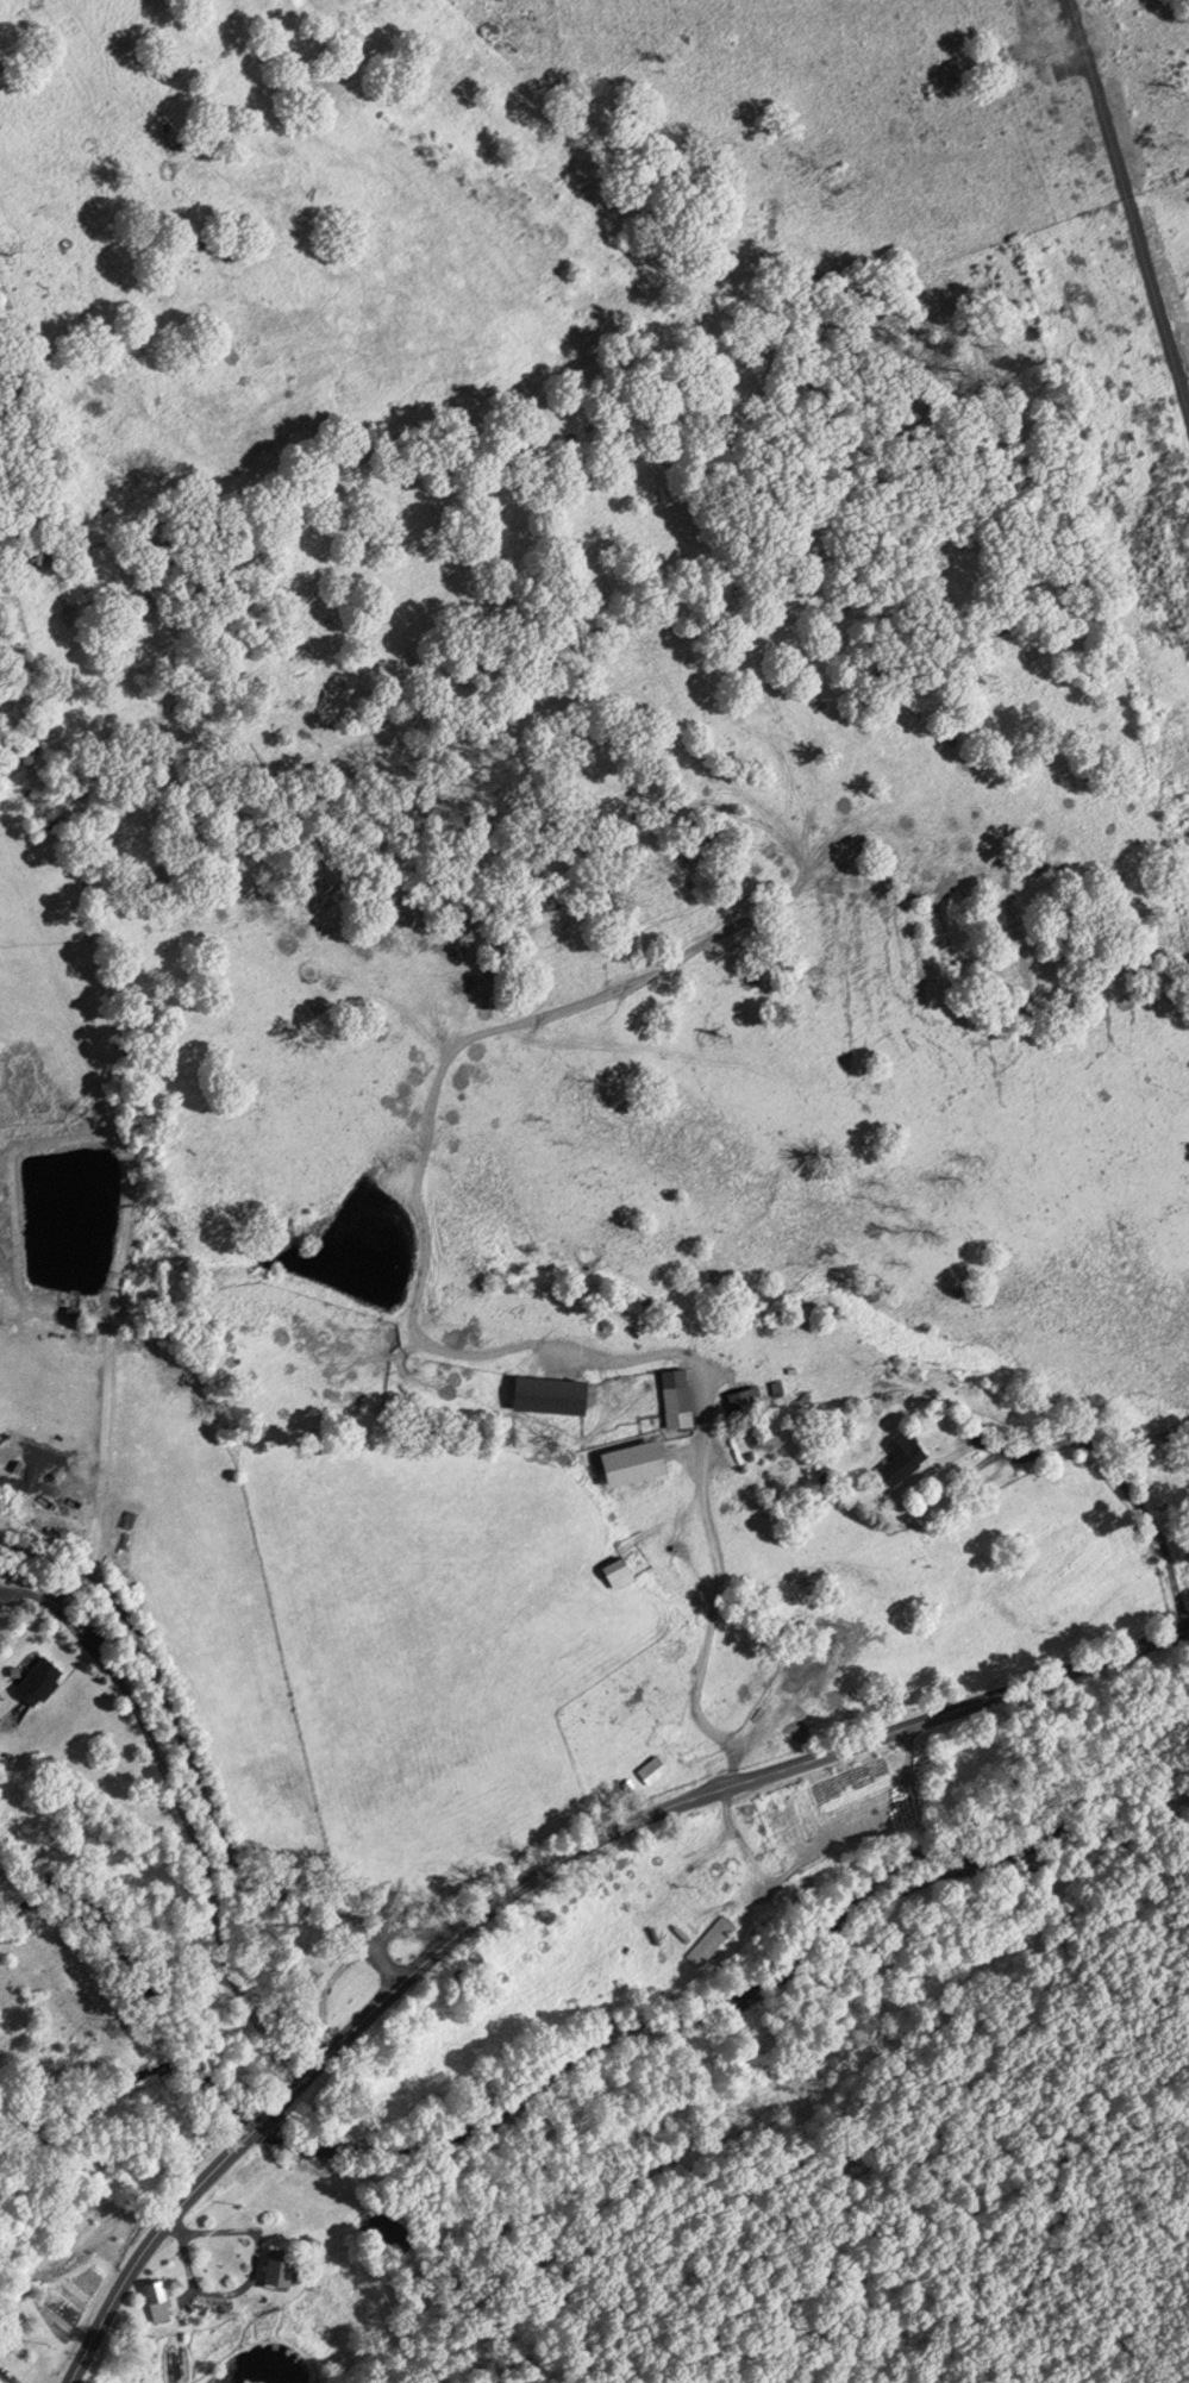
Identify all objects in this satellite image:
road: (436, 1349)
building: (540, 1393)
building: (671, 1397)
building: (737, 1399)
building: (896, 1458)
road: (1128, 1475)
building: (611, 1572)
road: (26, 1597)
building: (33, 1681)
building: (650, 1771)
road: (198, 1780)
road: (186, 1814)
road: (534, 1870)
building: (708, 1940)
building: (305, 1962)
road: (389, 1962)
road: (328, 1981)
building: (268, 2270)
building: (162, 2300)
building: (1, 2362)

